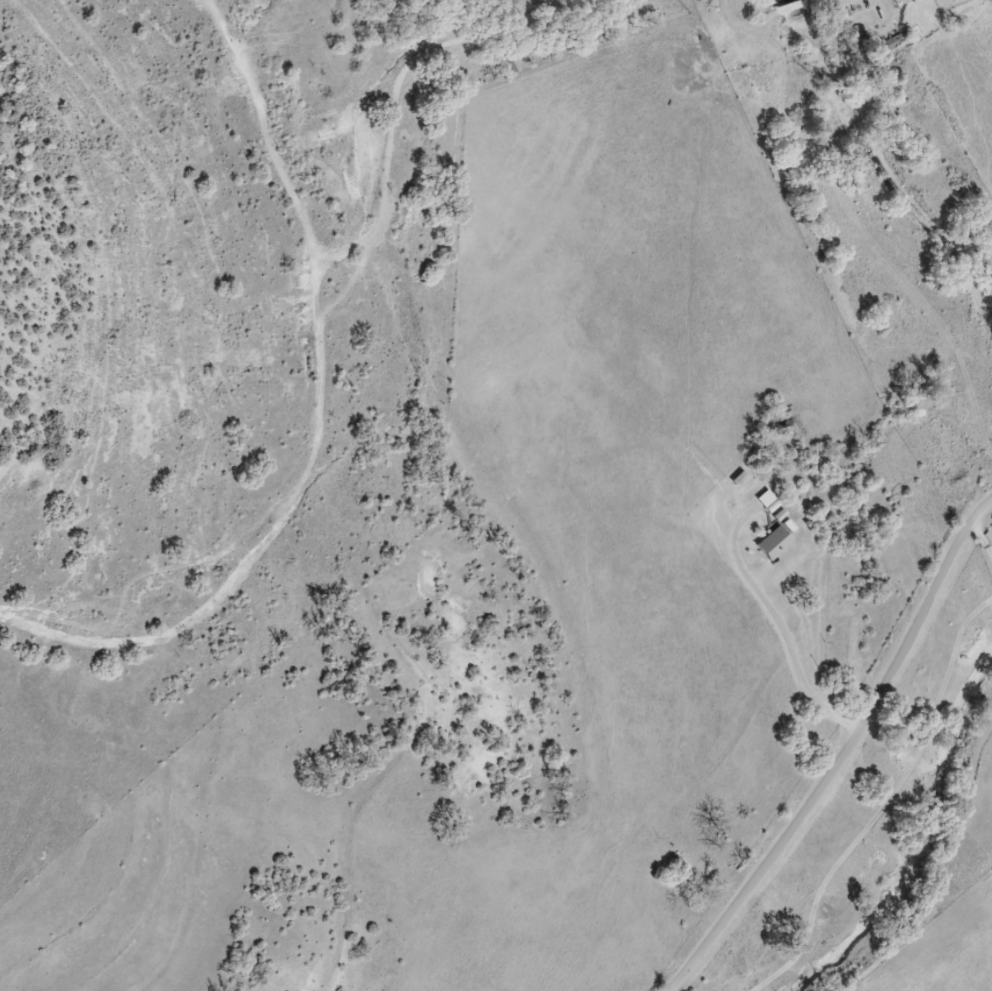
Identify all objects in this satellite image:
road: (248, 445)
building: (775, 503)
building: (781, 544)
road: (790, 630)
road: (873, 760)

